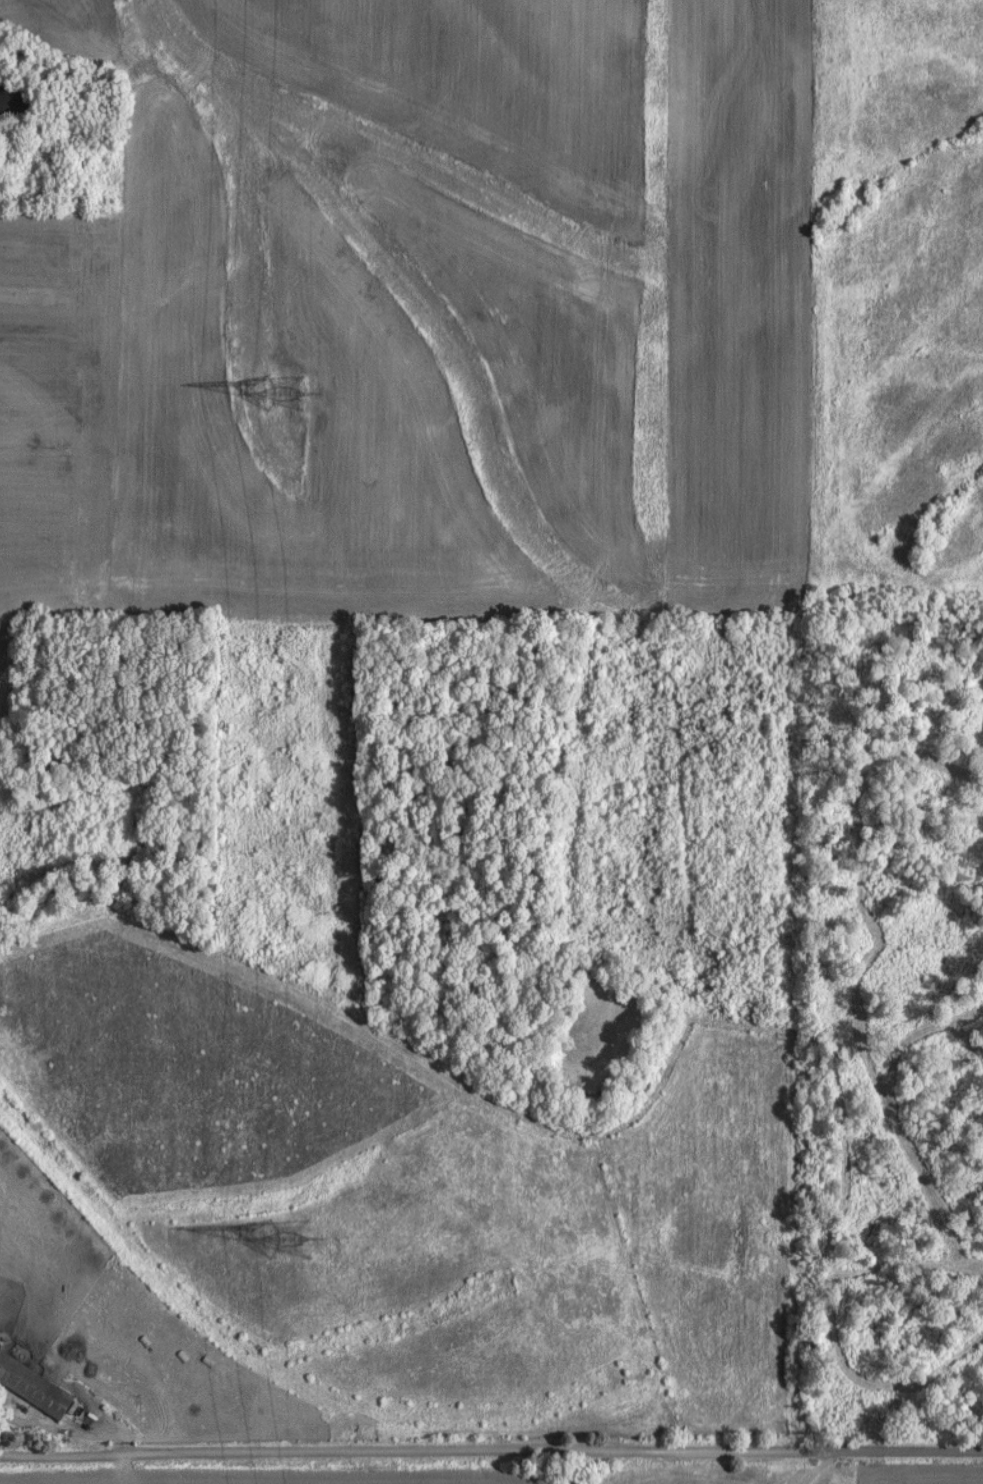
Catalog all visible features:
power tower: (278, 395)
power tower: (284, 1242)
building: (34, 1386)
road: (638, 1449)
road: (147, 1457)
road: (822, 1466)

